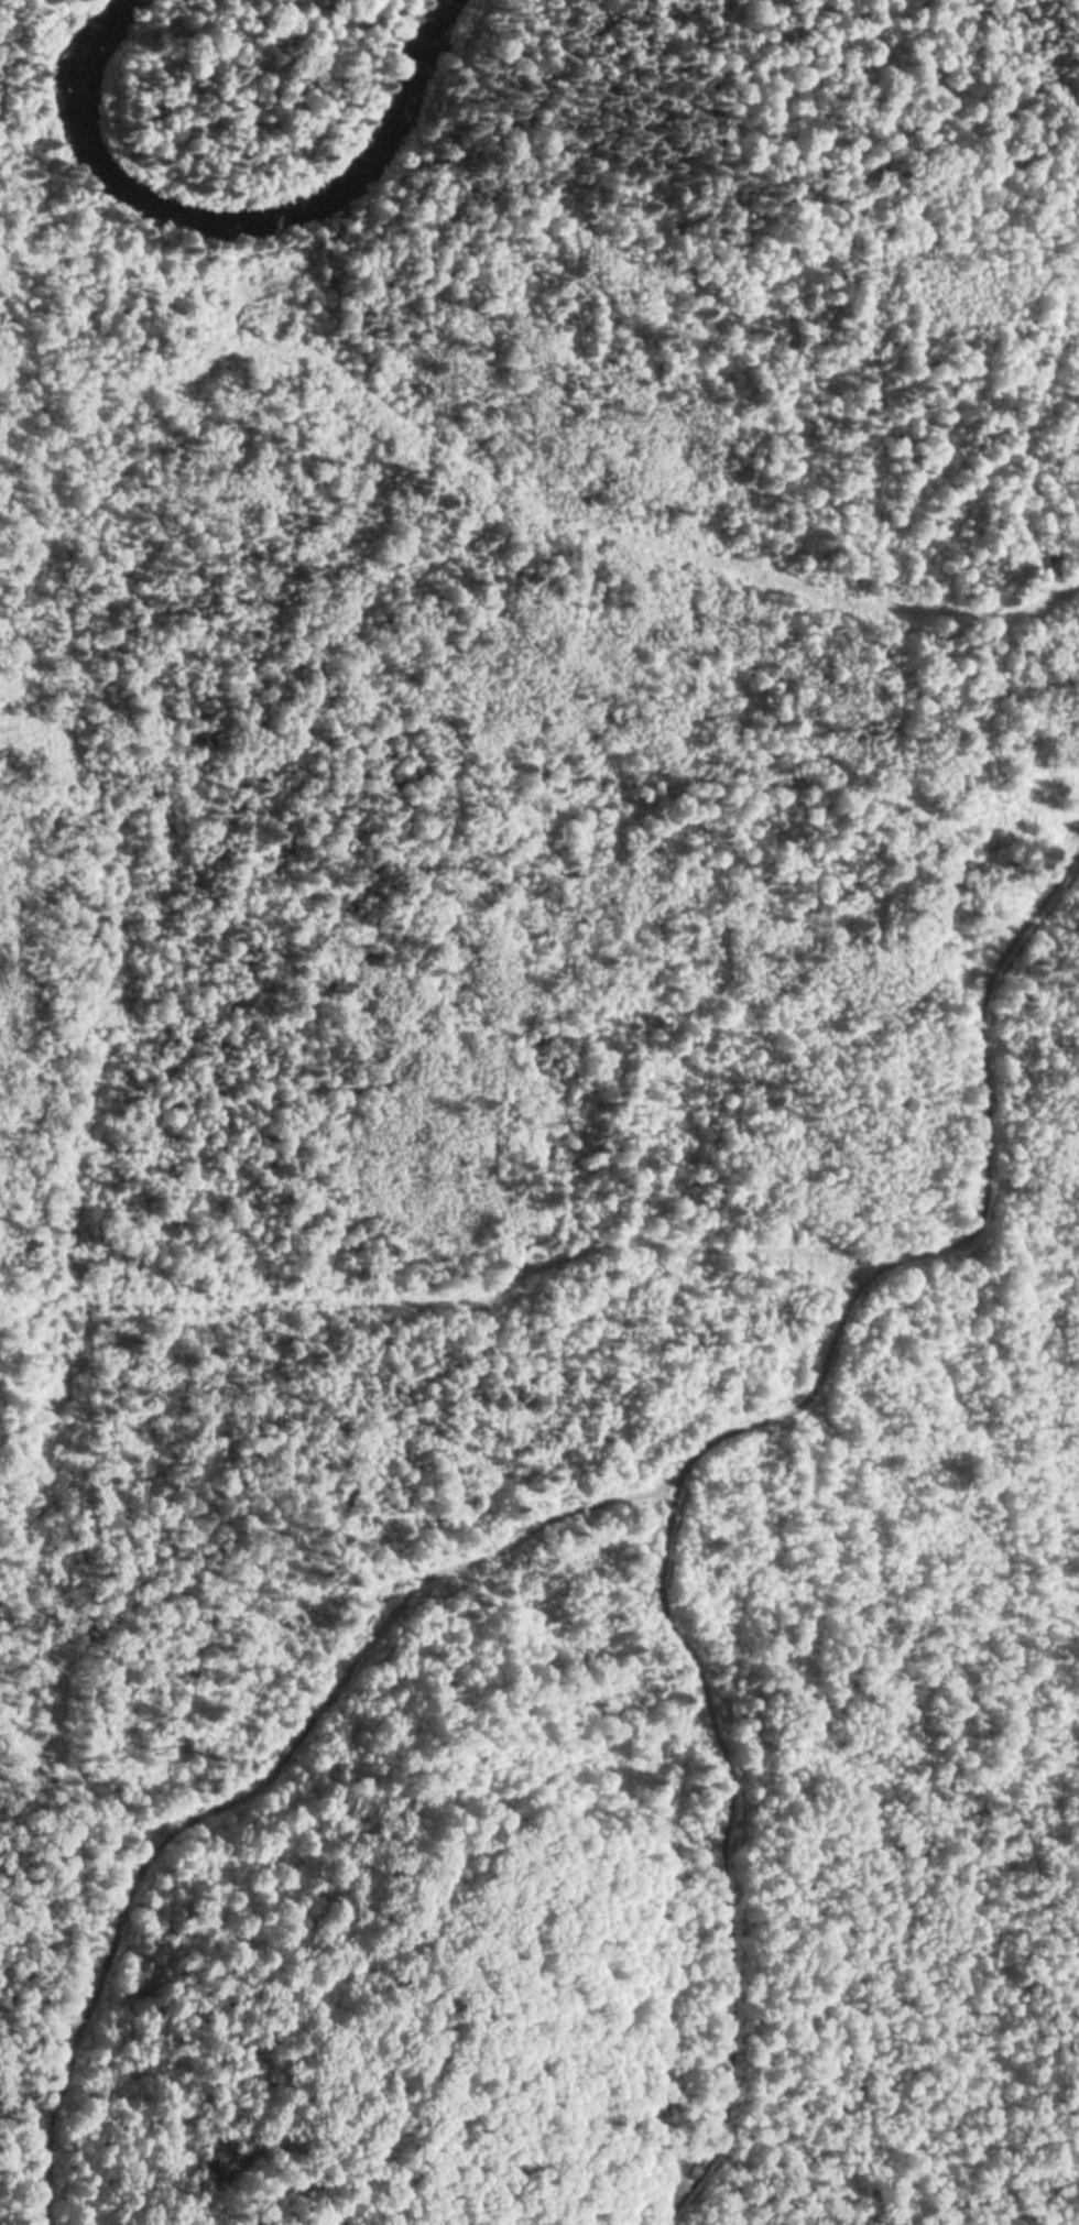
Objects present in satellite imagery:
river: (219, 215)

